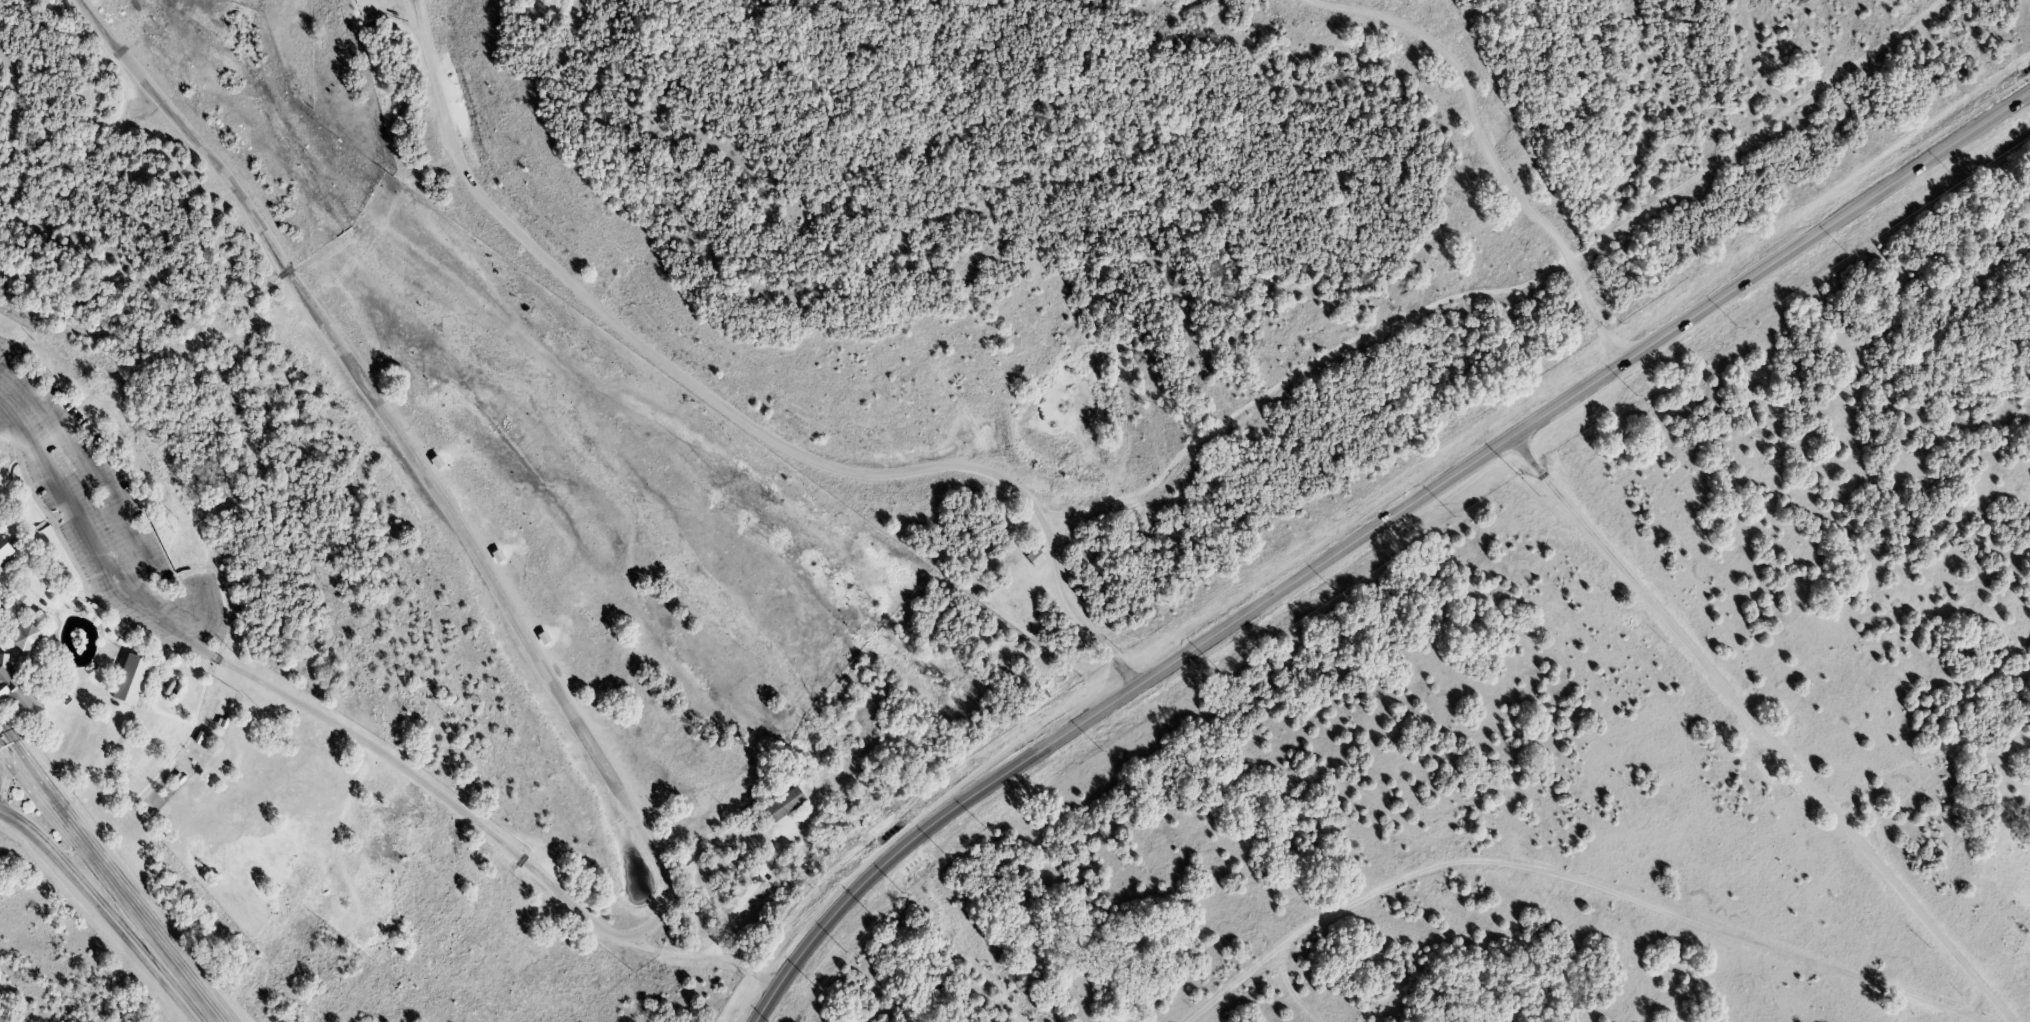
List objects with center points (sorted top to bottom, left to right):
road: (1490, 155)
road: (1503, 289)
road: (9, 394)
road: (731, 415)
road: (101, 474)
parking lot: (99, 510)
road: (1370, 532)
building: (9, 549)
building: (14, 608)
road: (208, 618)
building: (26, 636)
building: (129, 679)
building: (17, 694)
road: (1759, 730)
road: (8, 759)
road: (49, 795)
building: (788, 801)
road: (627, 812)
road: (747, 891)
road: (105, 903)
road: (699, 956)

